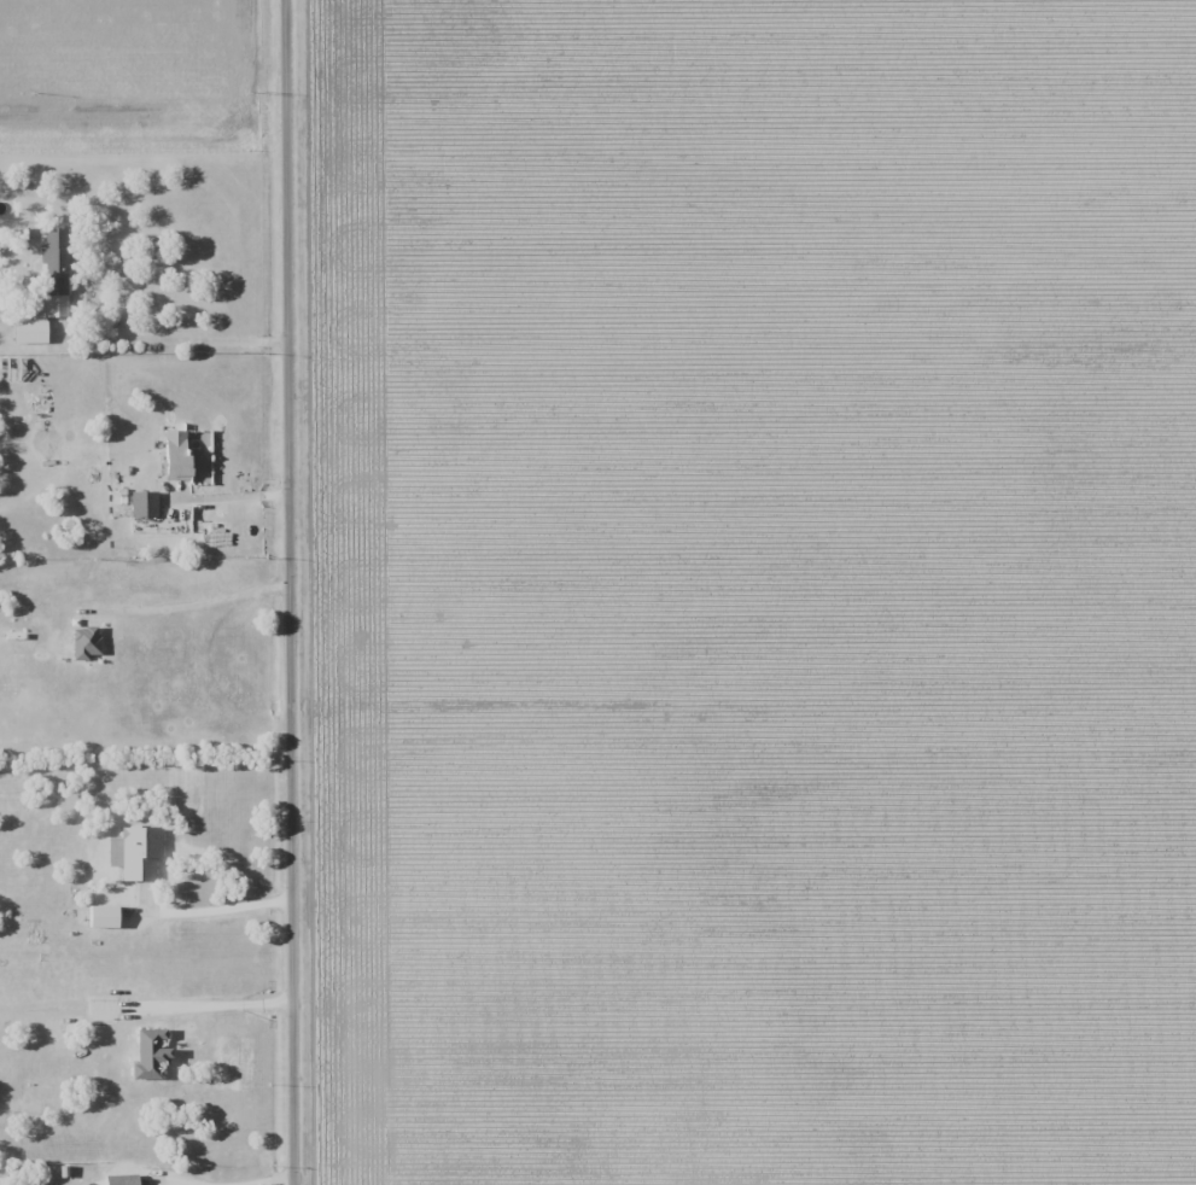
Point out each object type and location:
building: (56, 272)
building: (31, 331)
building: (180, 454)
road: (238, 494)
building: (145, 503)
road: (291, 592)
building: (87, 642)
building: (138, 853)
road: (216, 1005)
building: (130, 1179)
road: (235, 1183)

